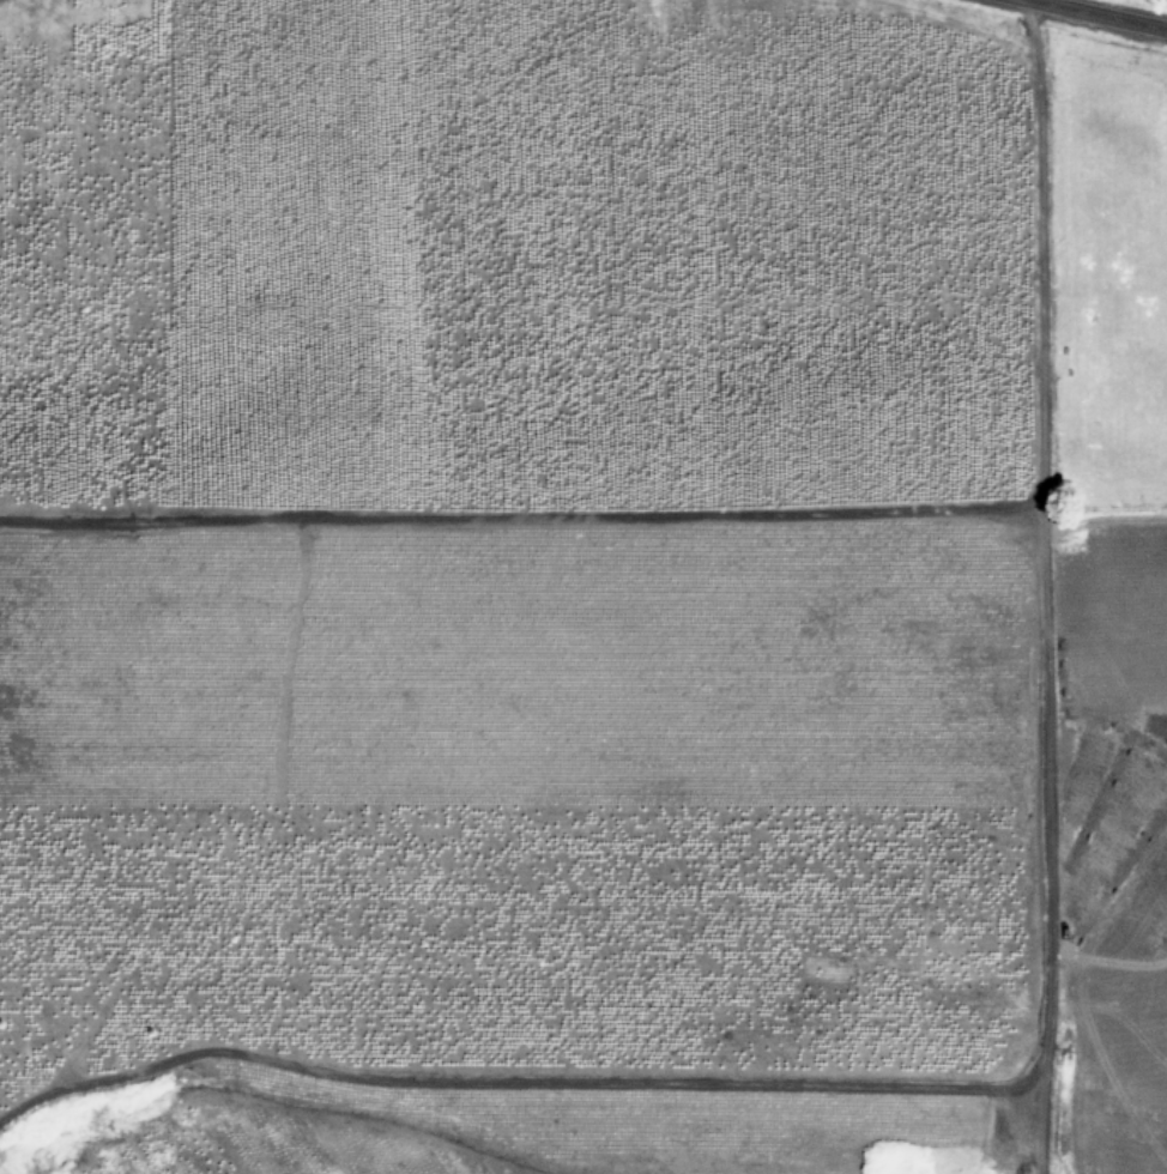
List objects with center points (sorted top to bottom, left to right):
road: (1056, 2)
road: (1098, 14)
road: (521, 524)
road: (1044, 586)
crop: (578, 593)
road: (520, 1087)

